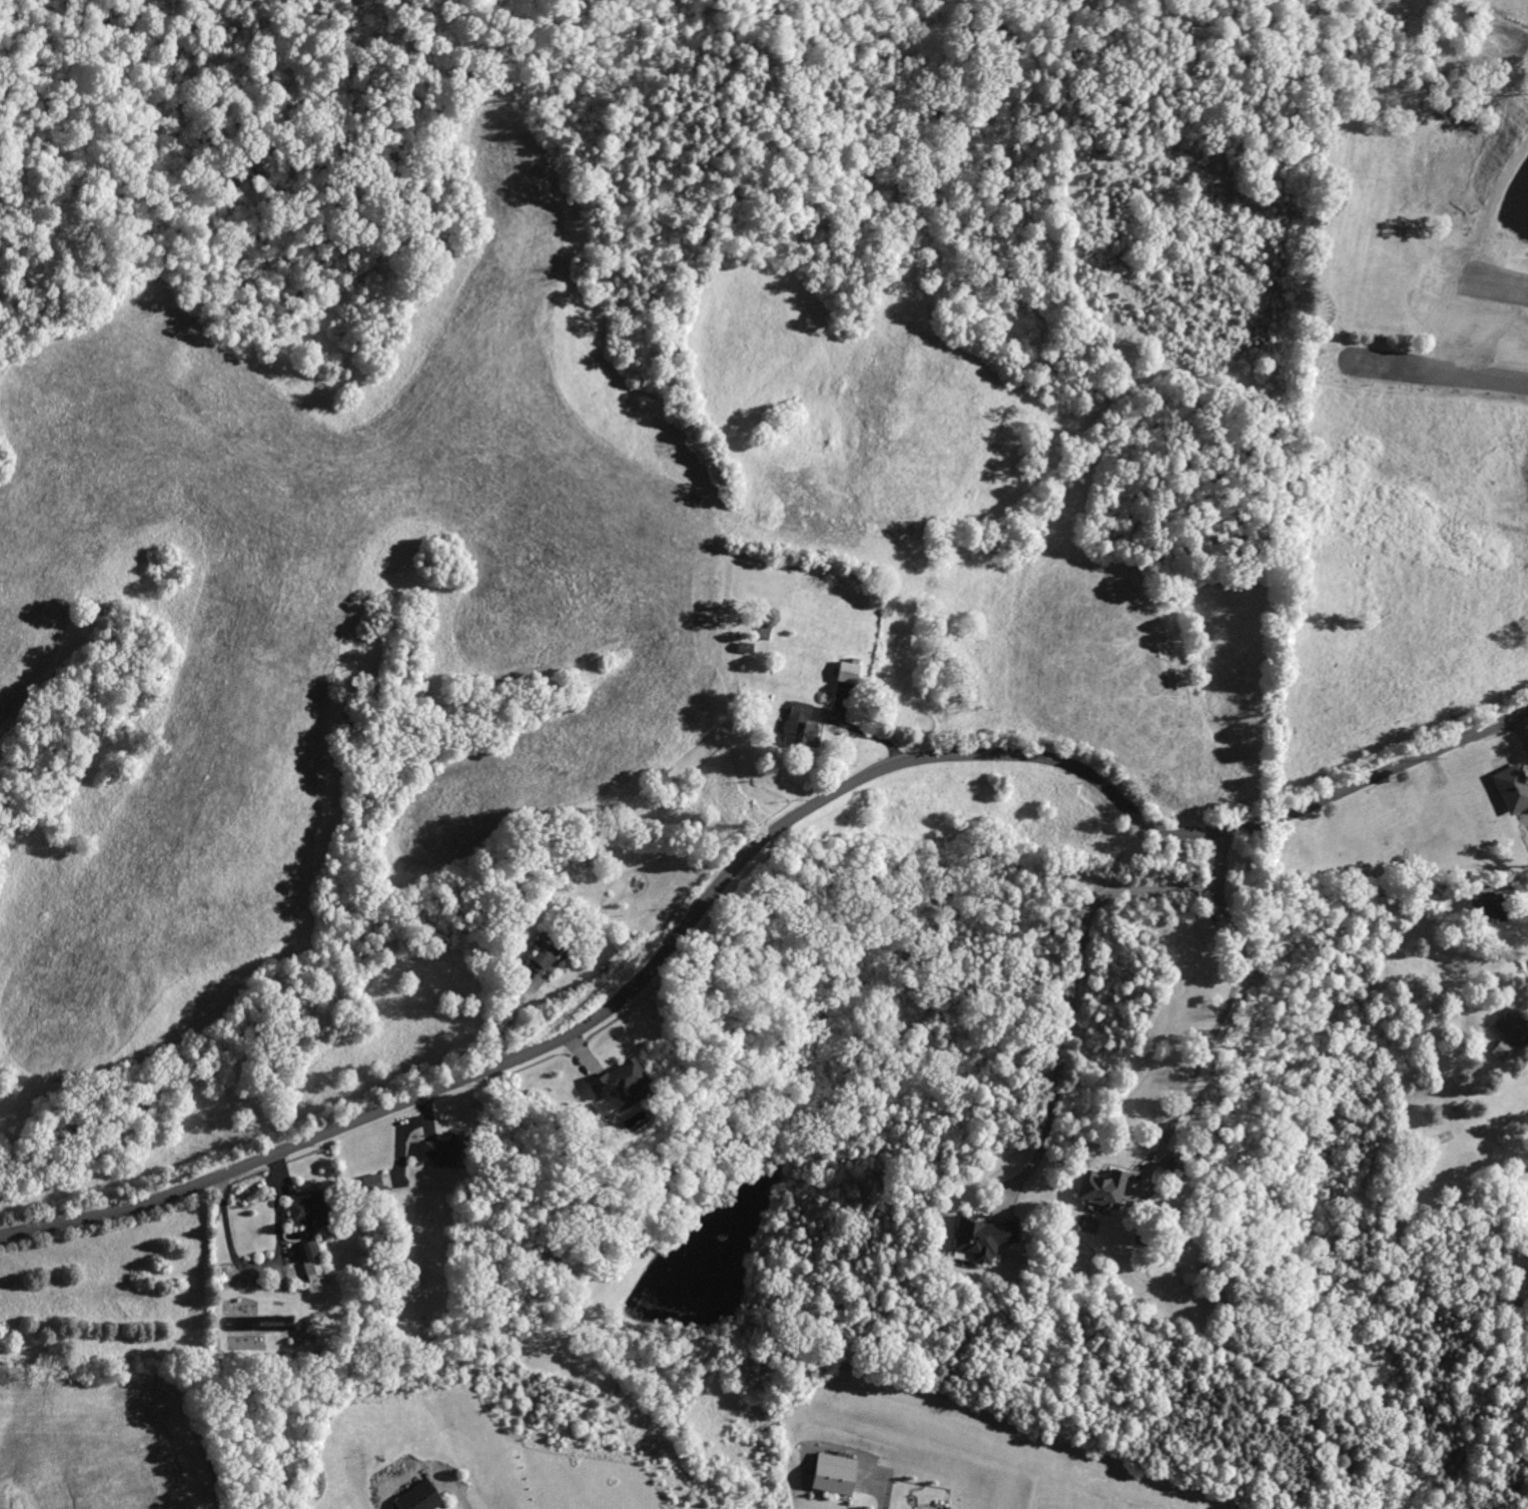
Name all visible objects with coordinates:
park: (211, 121)
building: (746, 605)
building: (765, 631)
building: (746, 647)
building: (849, 670)
building: (800, 726)
building: (1422, 780)
building: (1510, 785)
building: (592, 850)
road: (745, 854)
road: (1526, 887)
building: (1488, 906)
building: (1461, 926)
building: (558, 945)
road: (1076, 983)
building: (1512, 1025)
building: (611, 1041)
building: (1145, 1049)
building: (1502, 1050)
building: (620, 1081)
road: (1186, 1090)
road: (1224, 1099)
building: (450, 1146)
building: (1177, 1165)
building: (373, 1184)
building: (1102, 1189)
building: (314, 1213)
building: (984, 1238)
building: (311, 1257)
building: (244, 1324)
building: (246, 1343)
building: (278, 1345)
building: (52, 1358)
building: (837, 1473)
road: (884, 1497)
building: (421, 1498)

